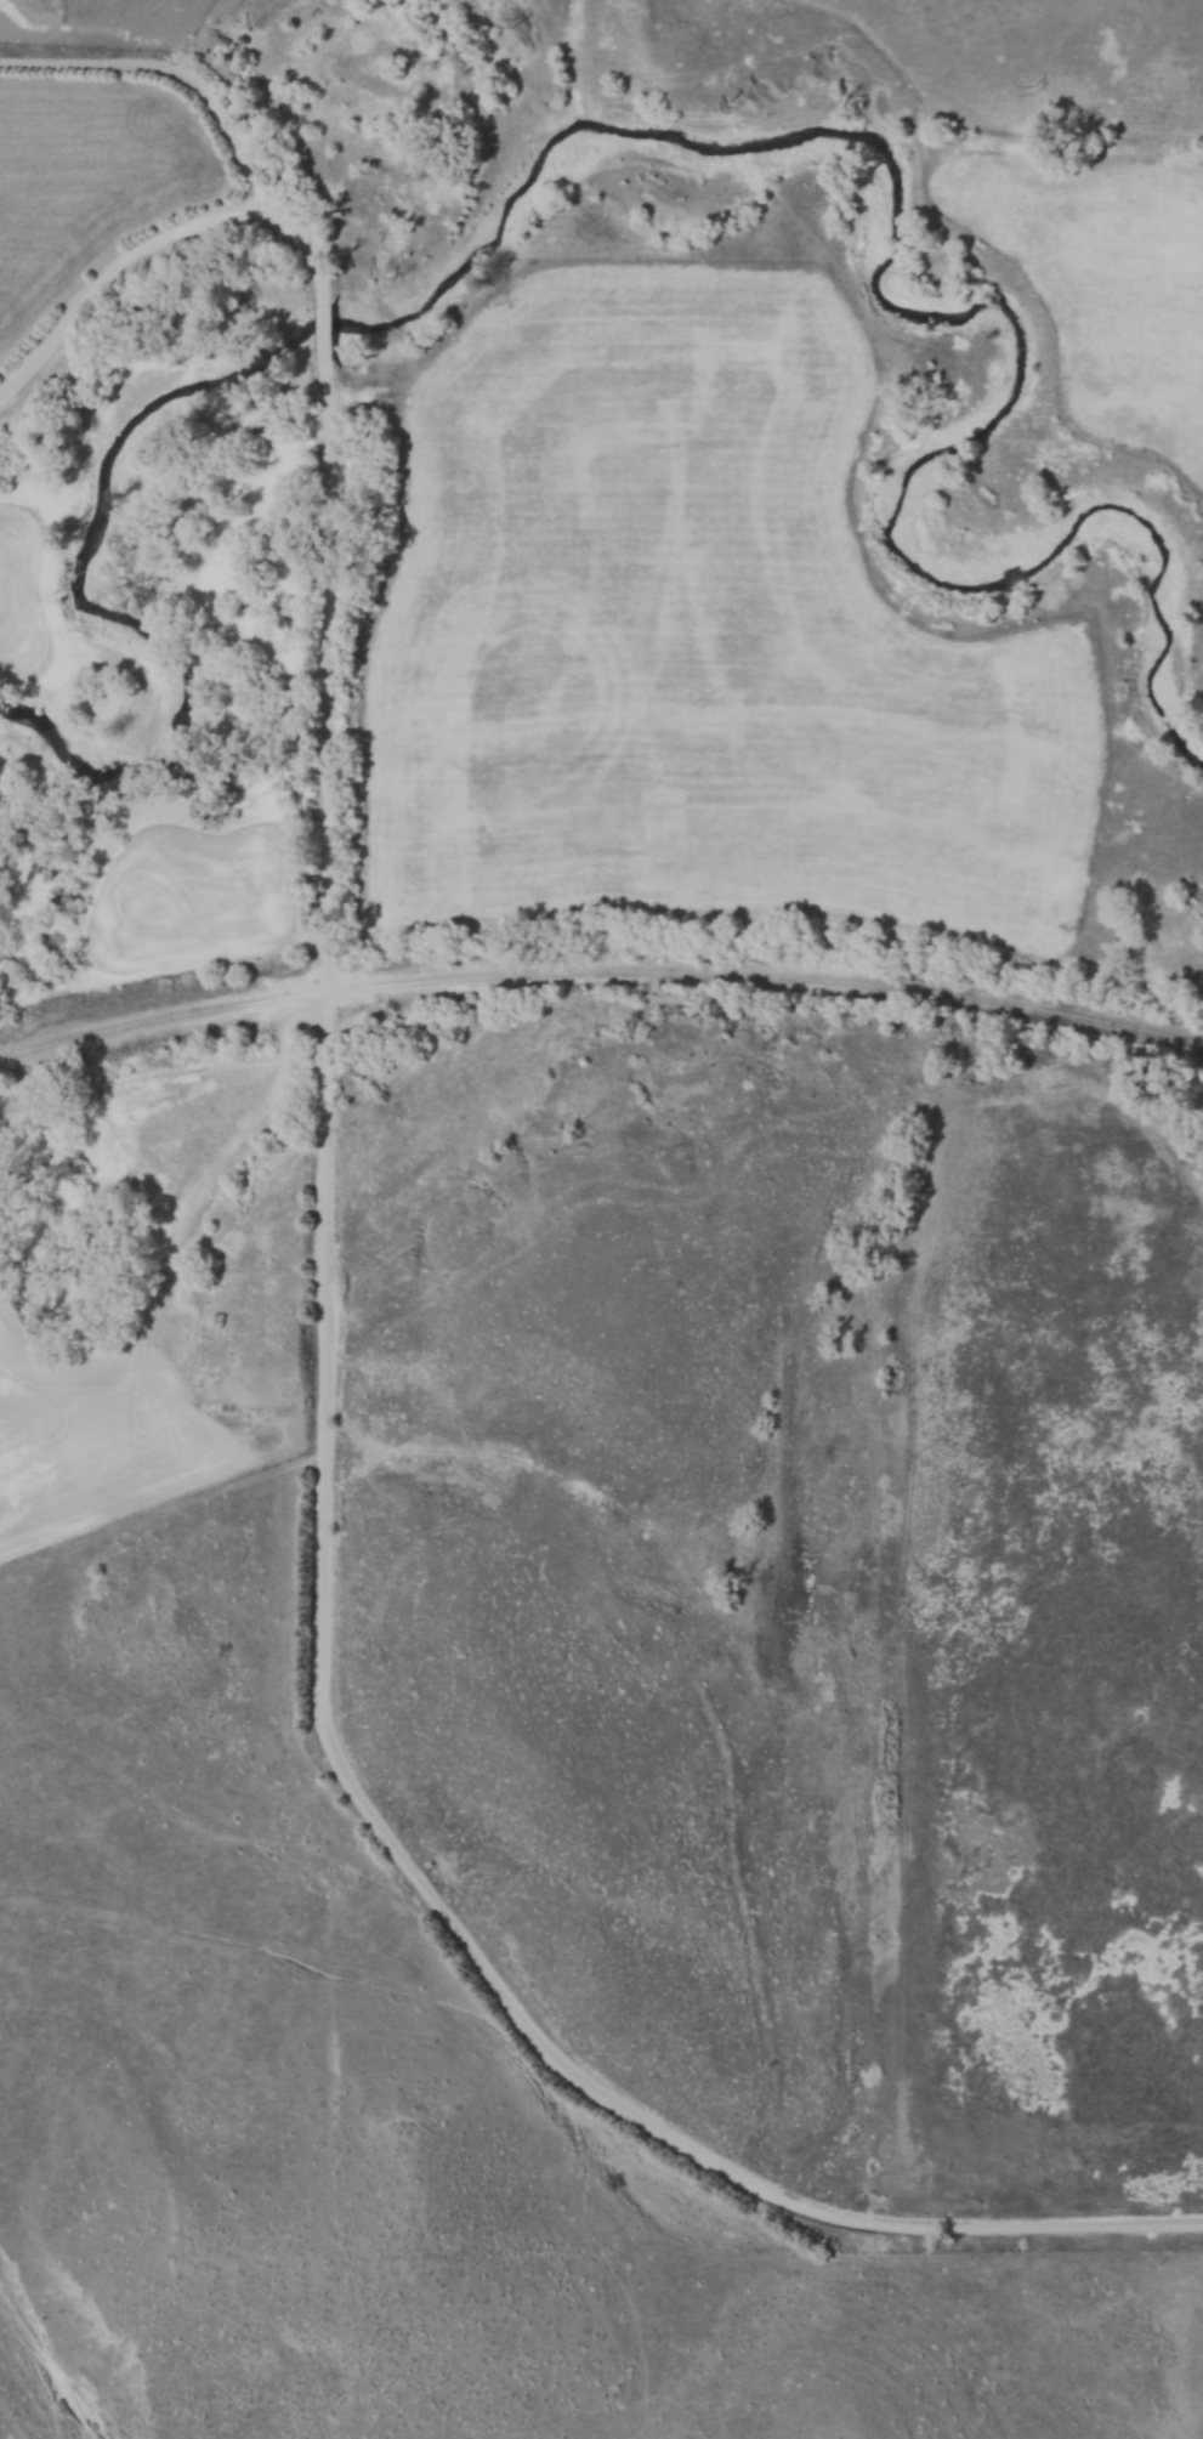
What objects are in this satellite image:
road: (161, 244)
road: (318, 335)
railway: (600, 974)
road: (322, 1592)

